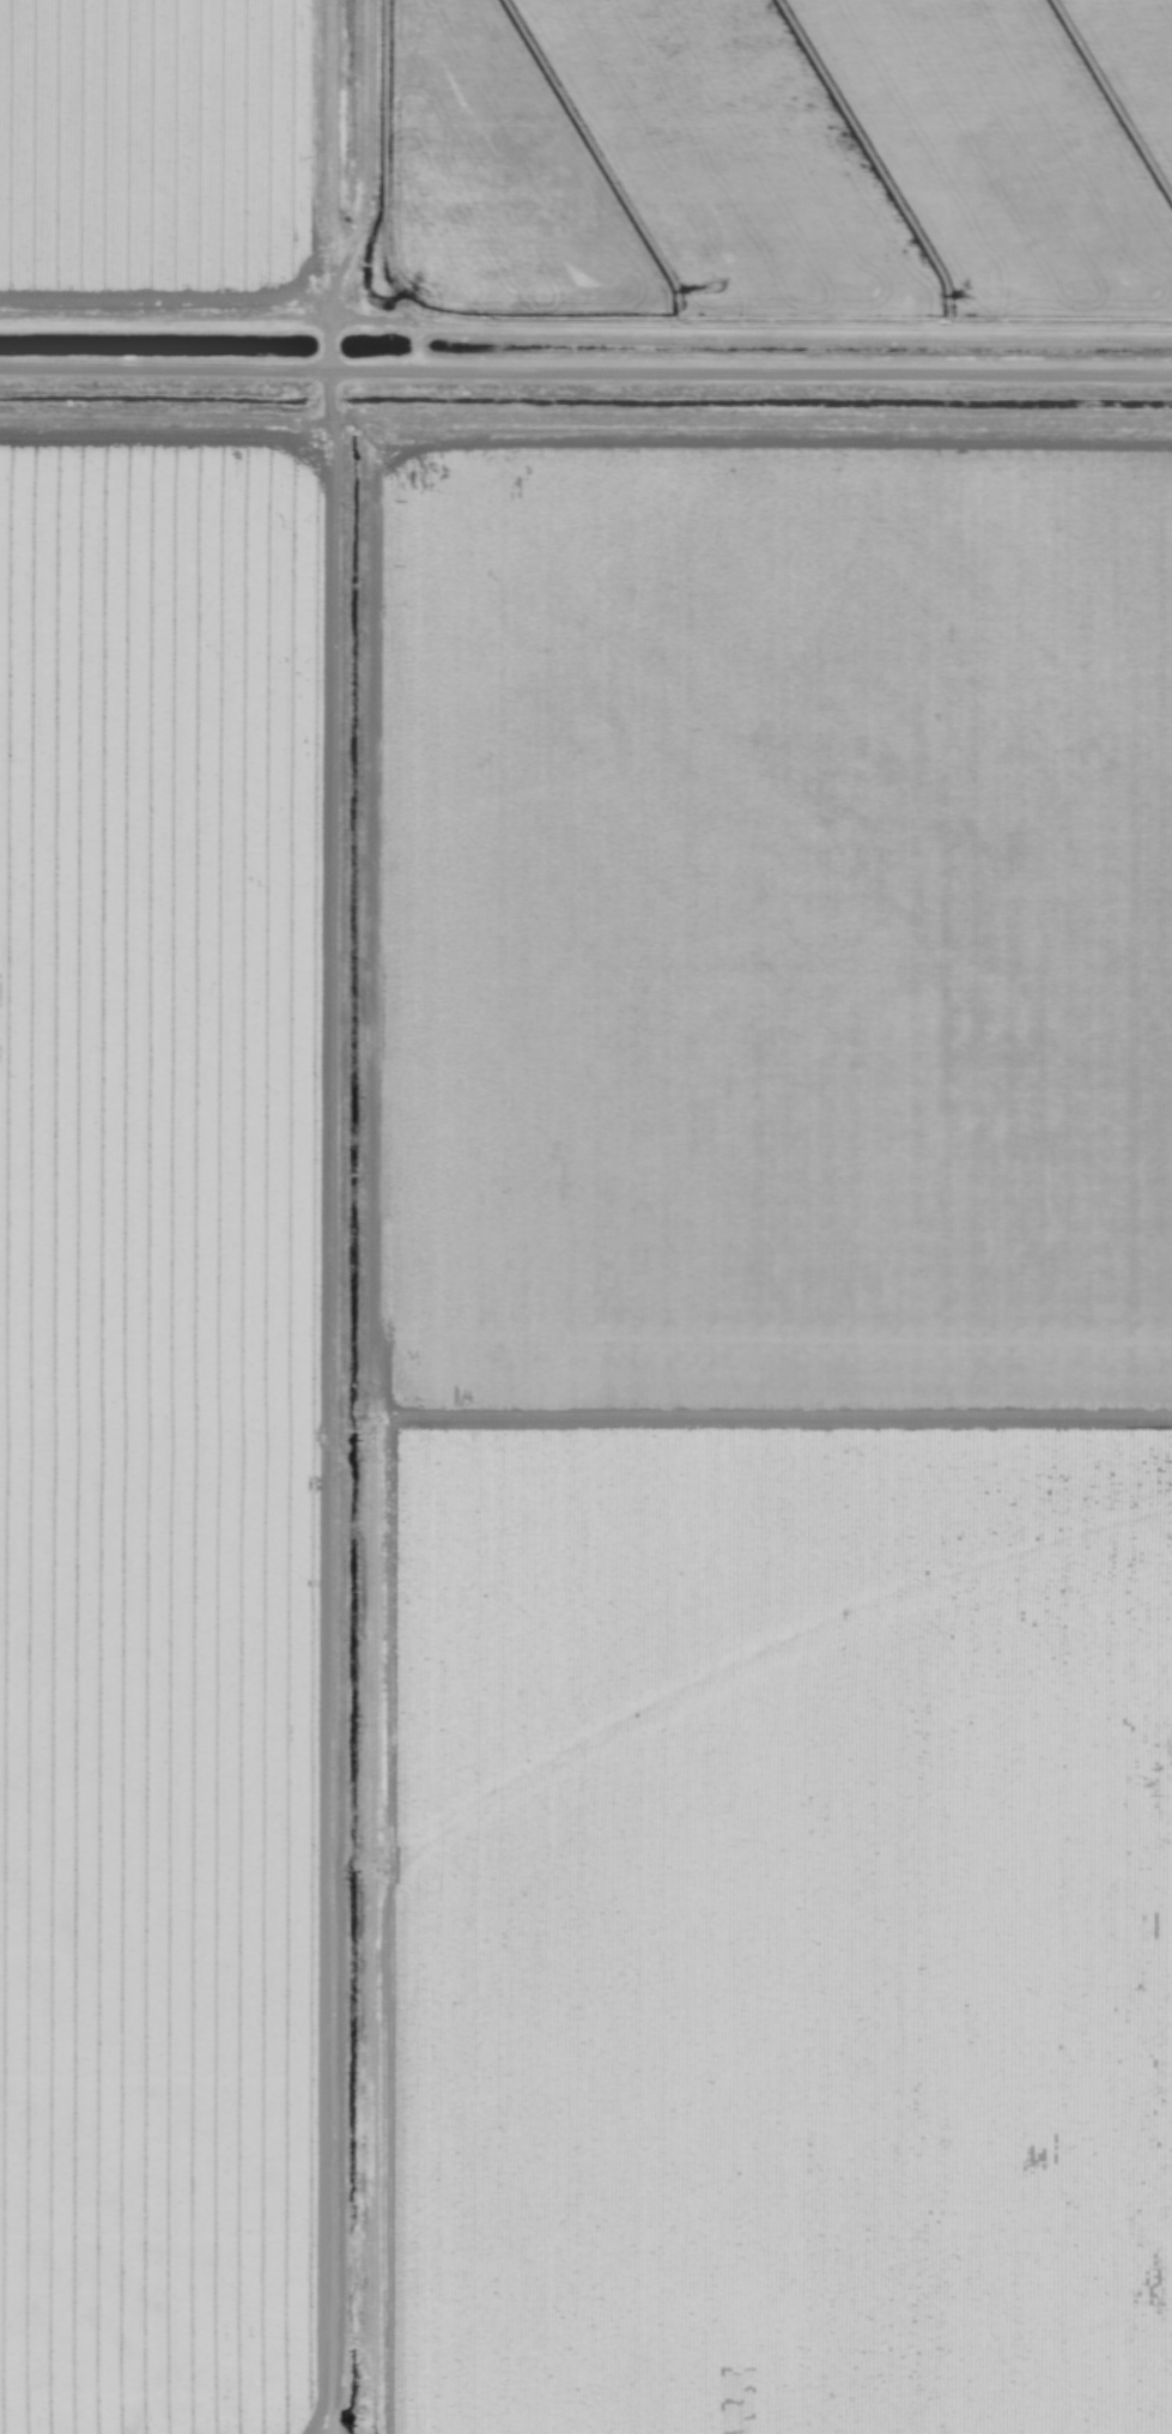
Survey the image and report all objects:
road: (585, 386)

